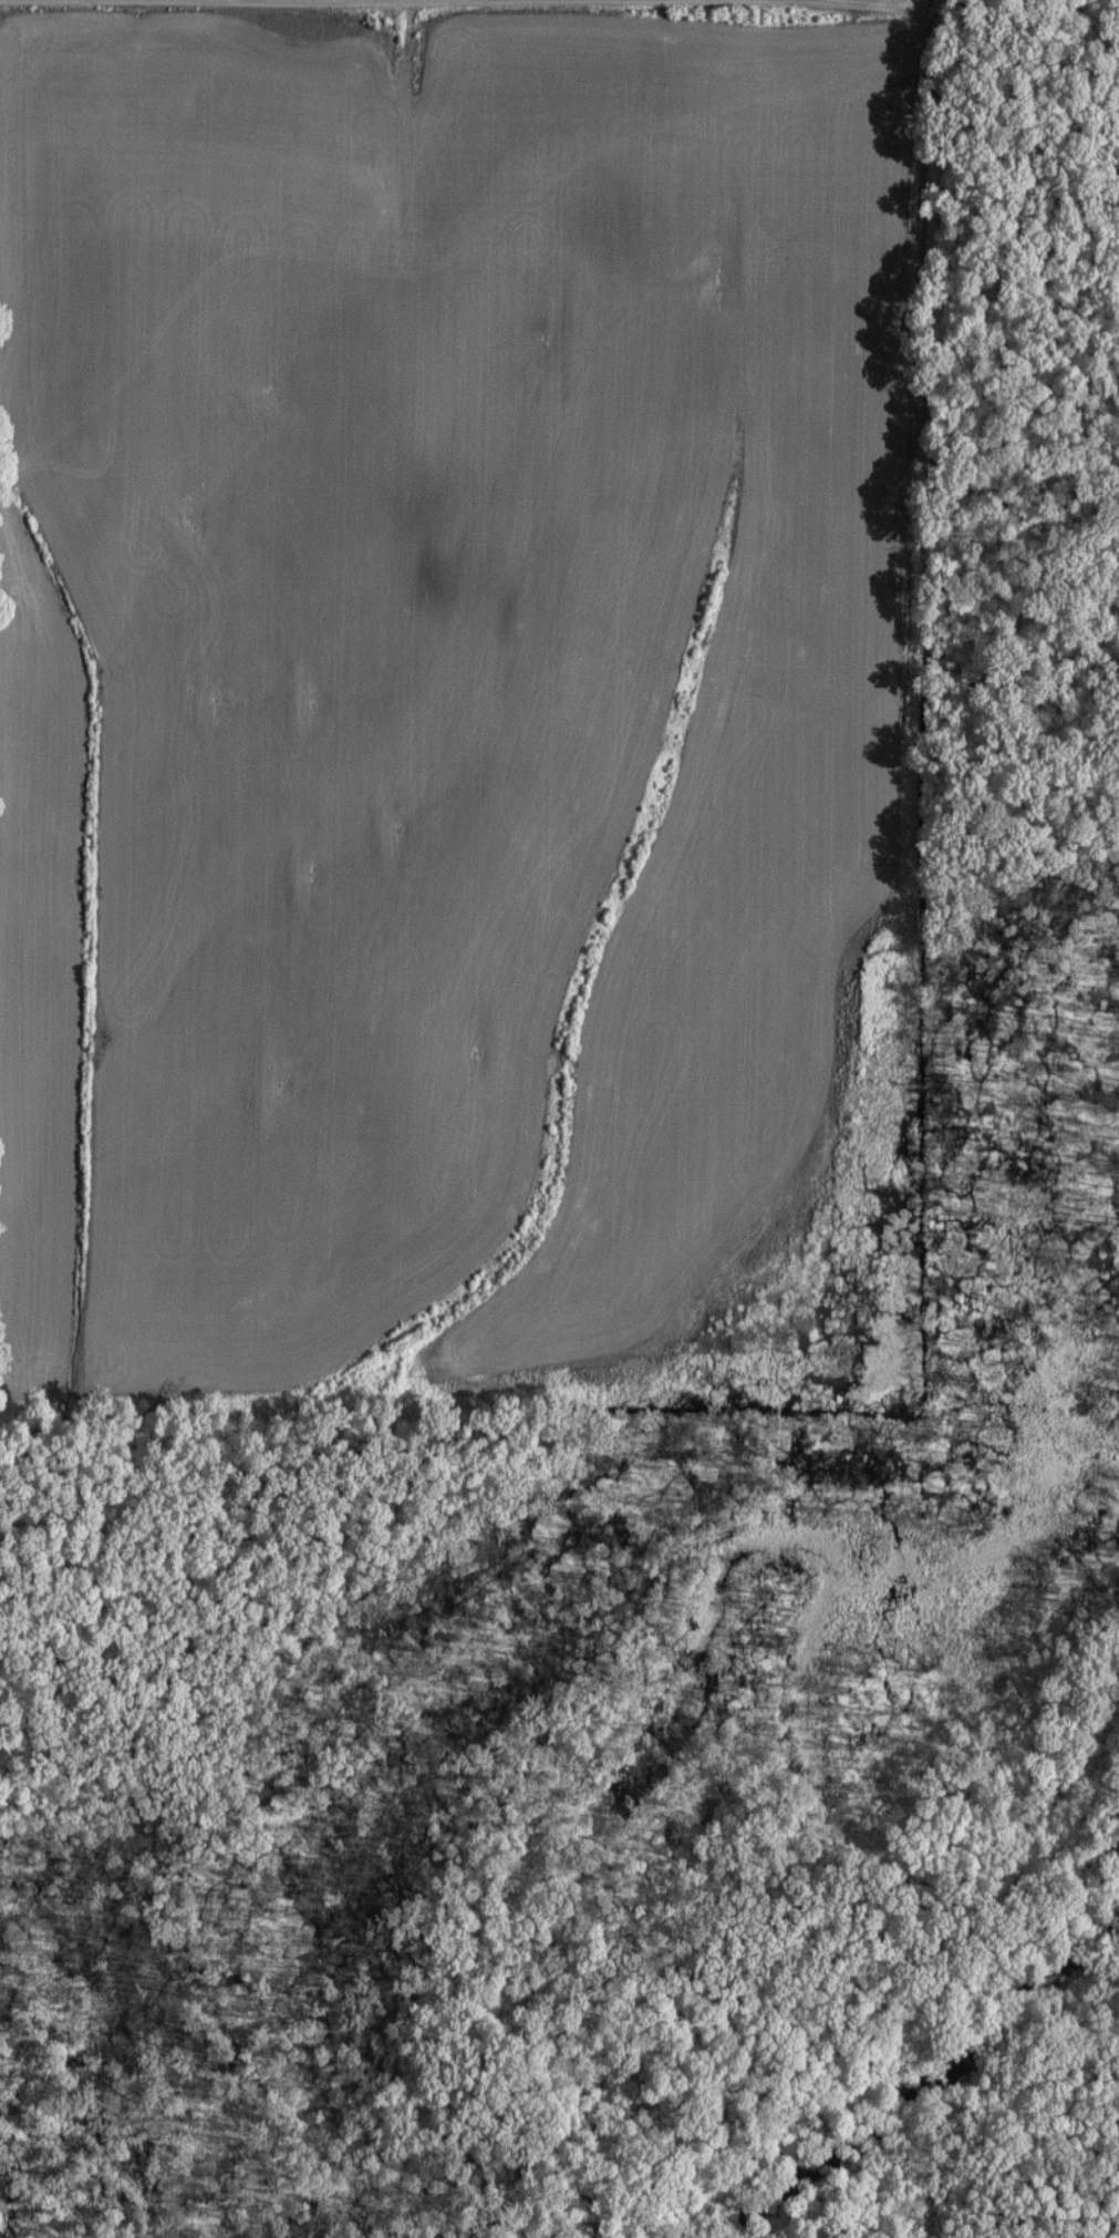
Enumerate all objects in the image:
road: (462, 3)

